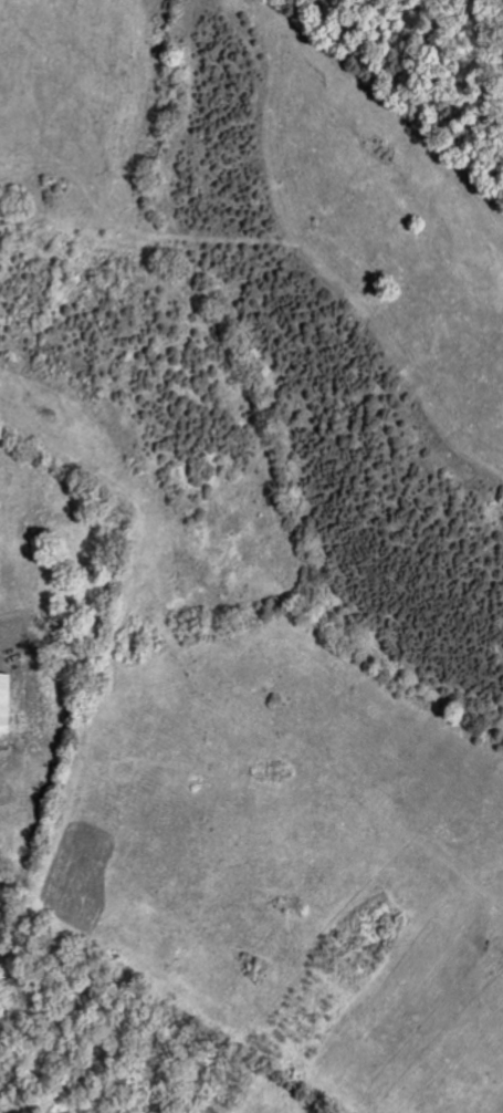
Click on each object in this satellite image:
building: (8, 703)

